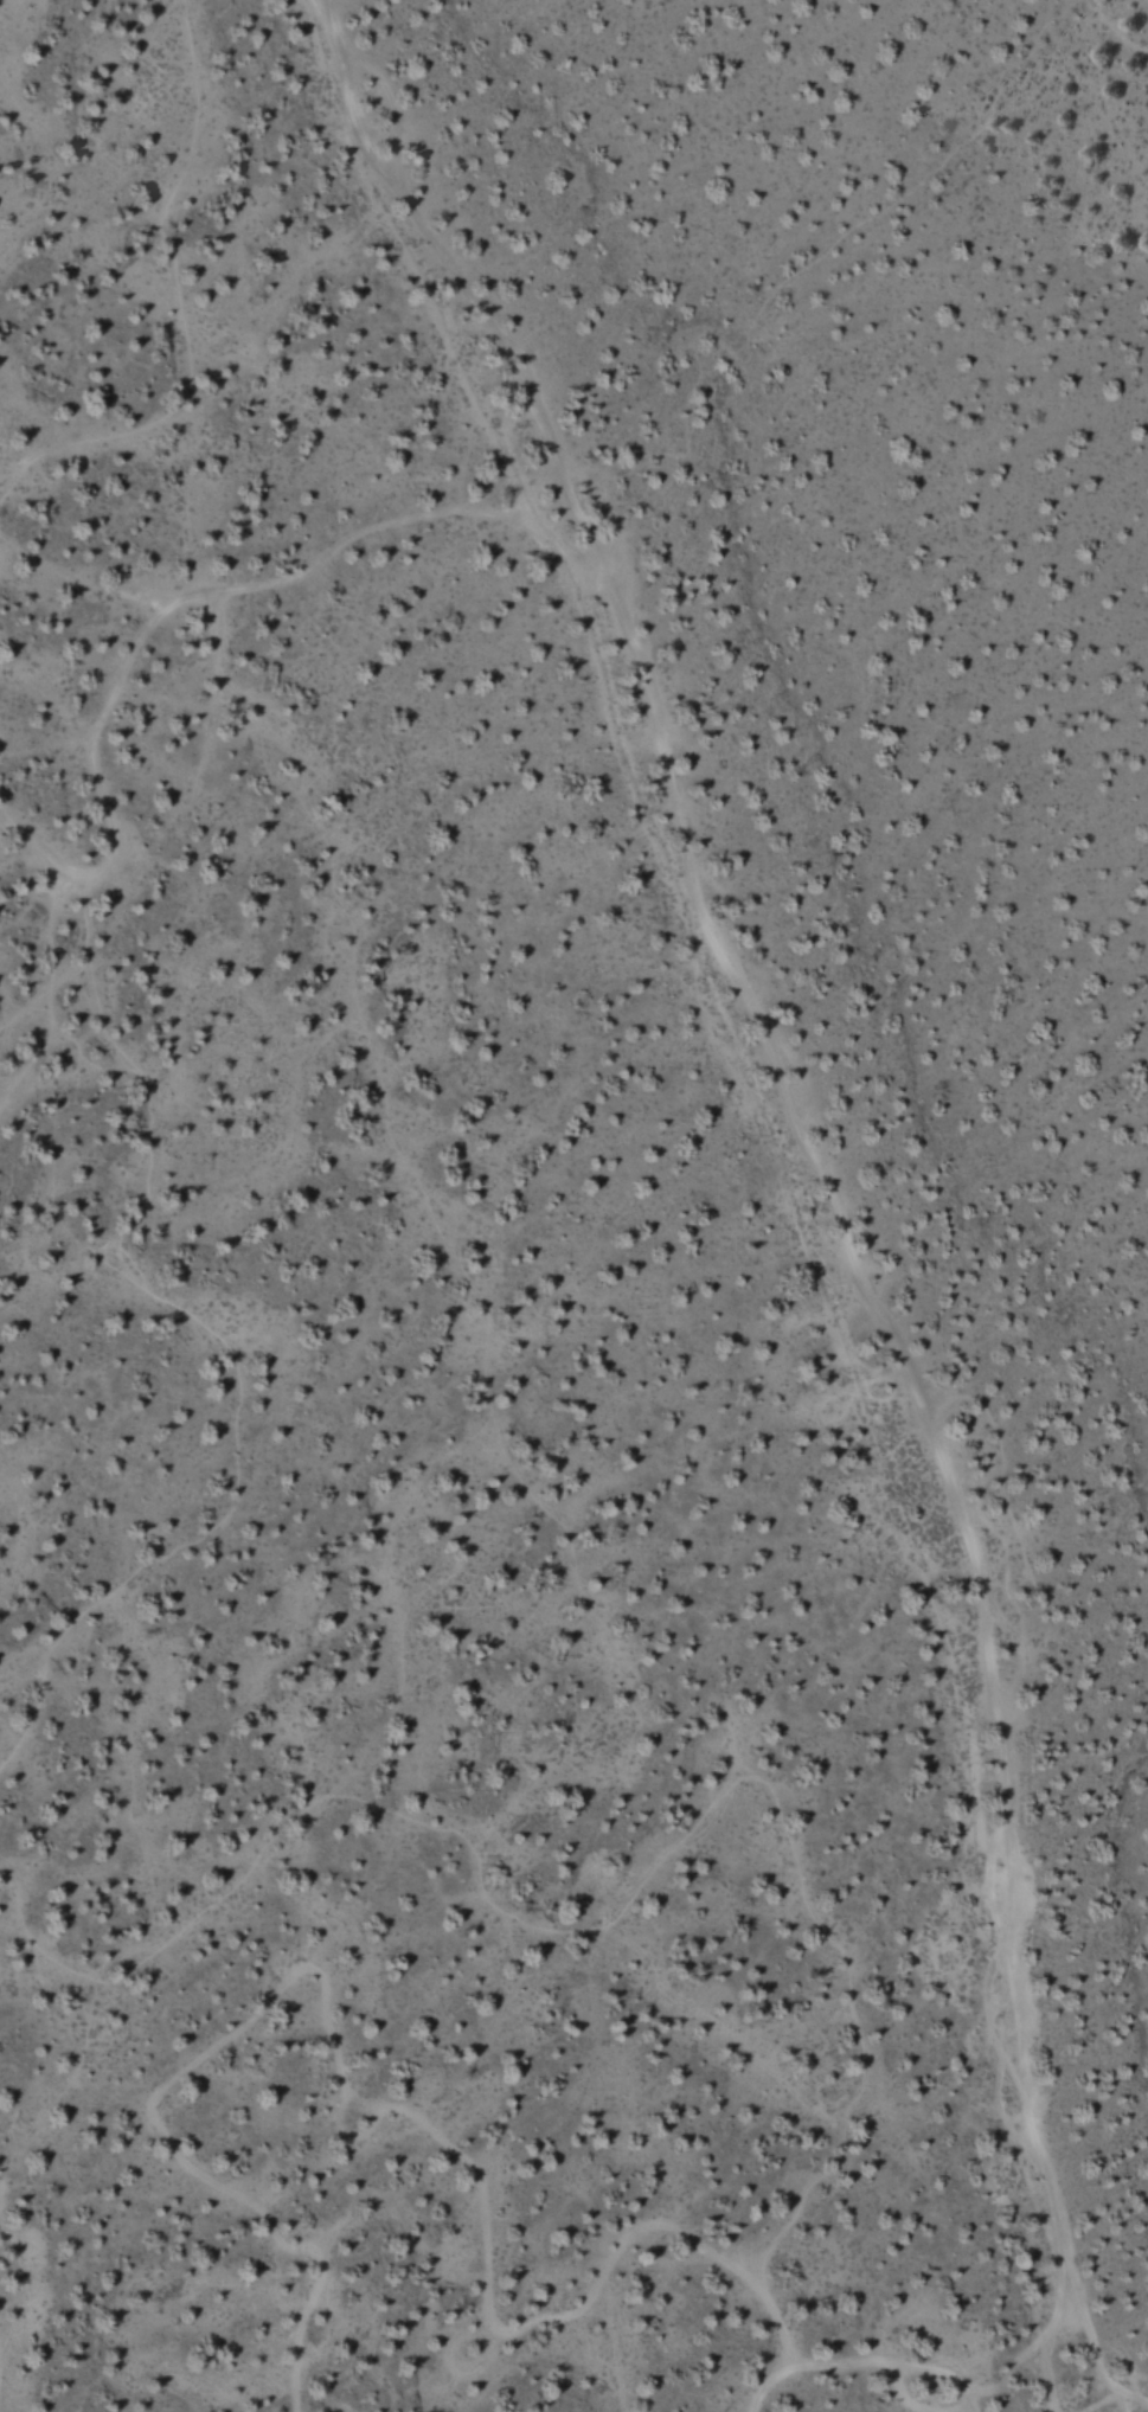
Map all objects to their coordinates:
road: (180, 602)
road: (815, 1173)
road: (336, 2112)
road: (860, 2363)

